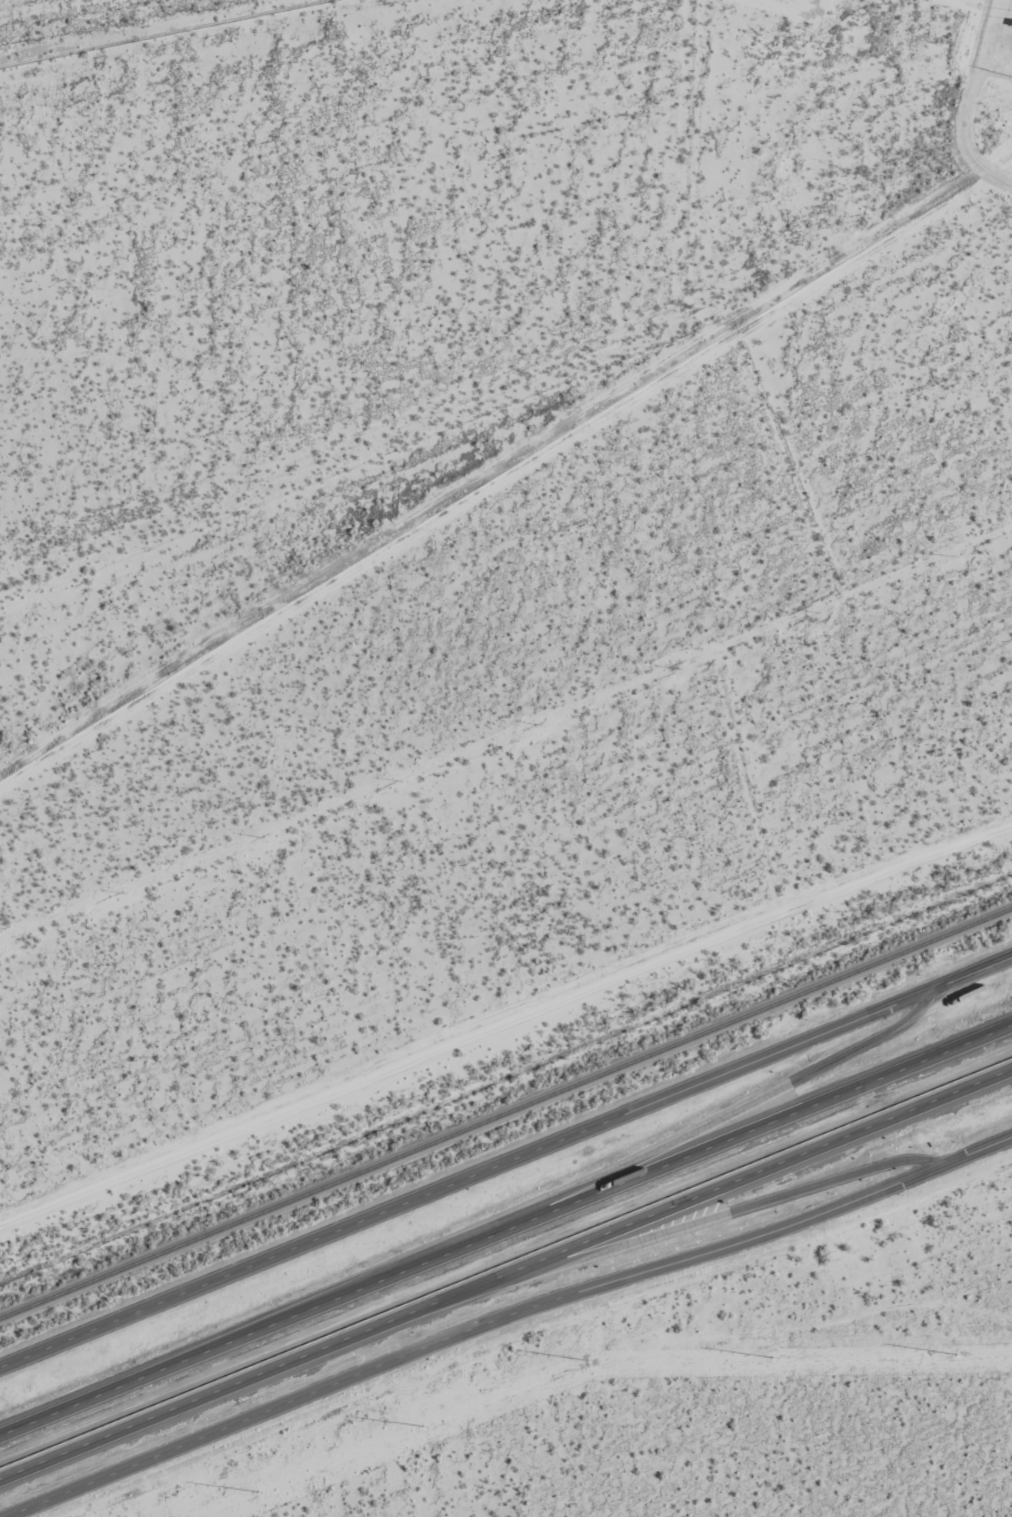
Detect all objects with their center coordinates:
road: (973, 974)
road: (504, 1026)
railway: (505, 1114)
road: (972, 1146)
road: (467, 1179)
road: (559, 1195)
road: (678, 1228)
road: (505, 1229)
road: (506, 1273)
road: (491, 1339)

